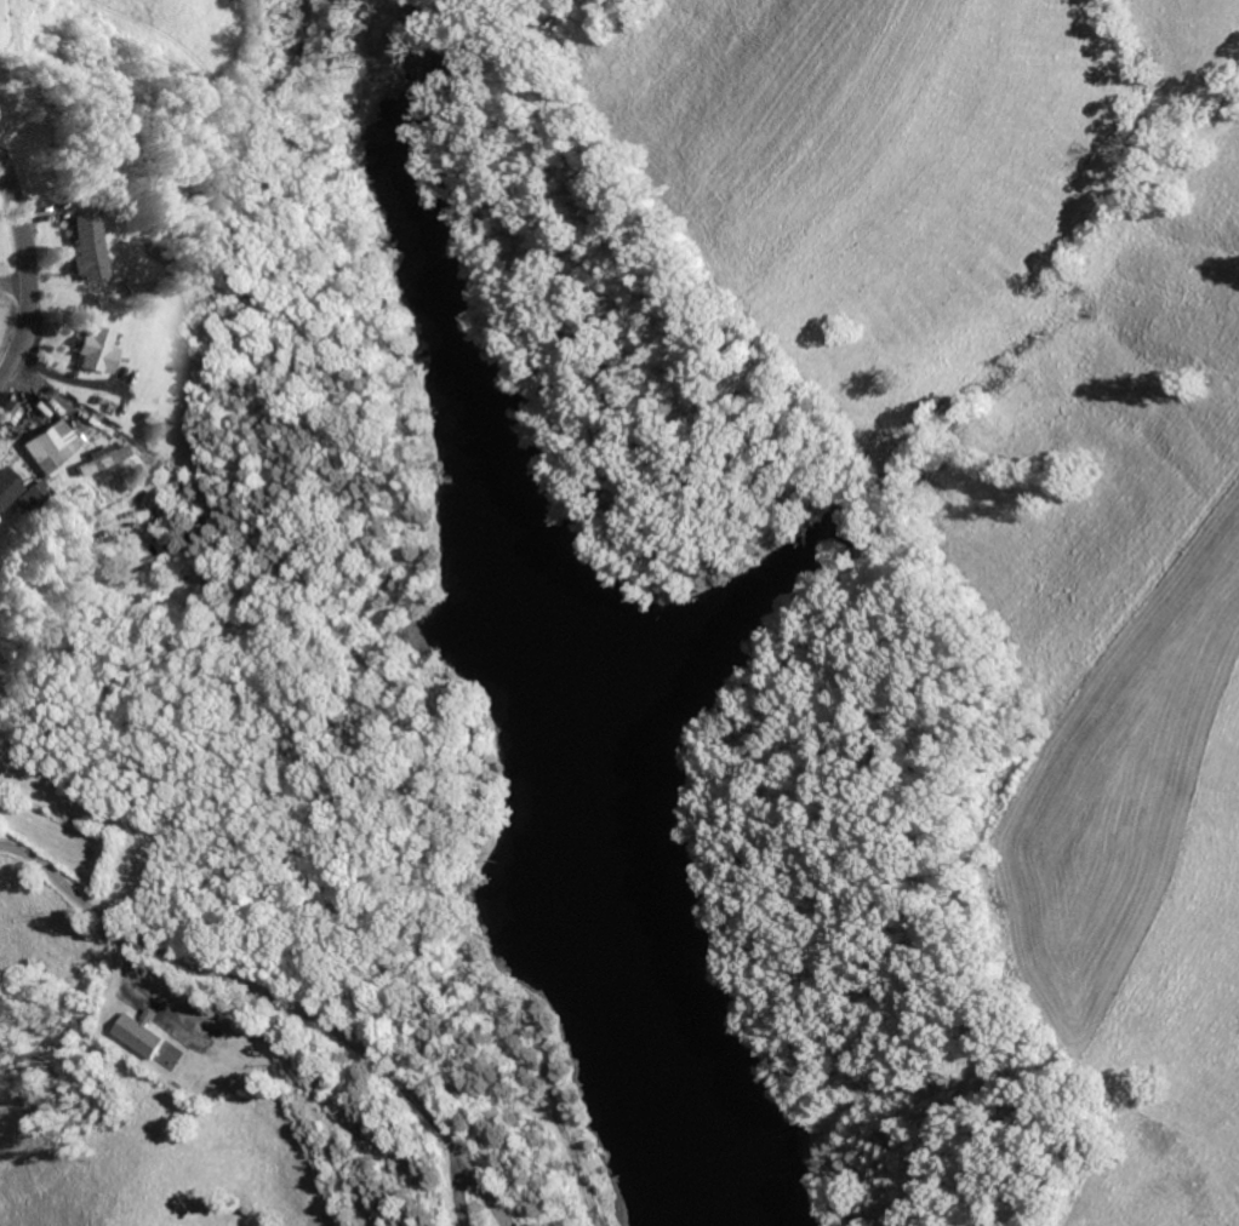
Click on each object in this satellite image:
building: (81, 244)
road: (10, 288)
building: (93, 348)
building: (10, 408)
building: (53, 443)
building: (104, 456)
building: (8, 486)
building: (33, 492)
road: (298, 642)
road: (274, 1003)
building: (142, 1032)
road: (891, 1182)

